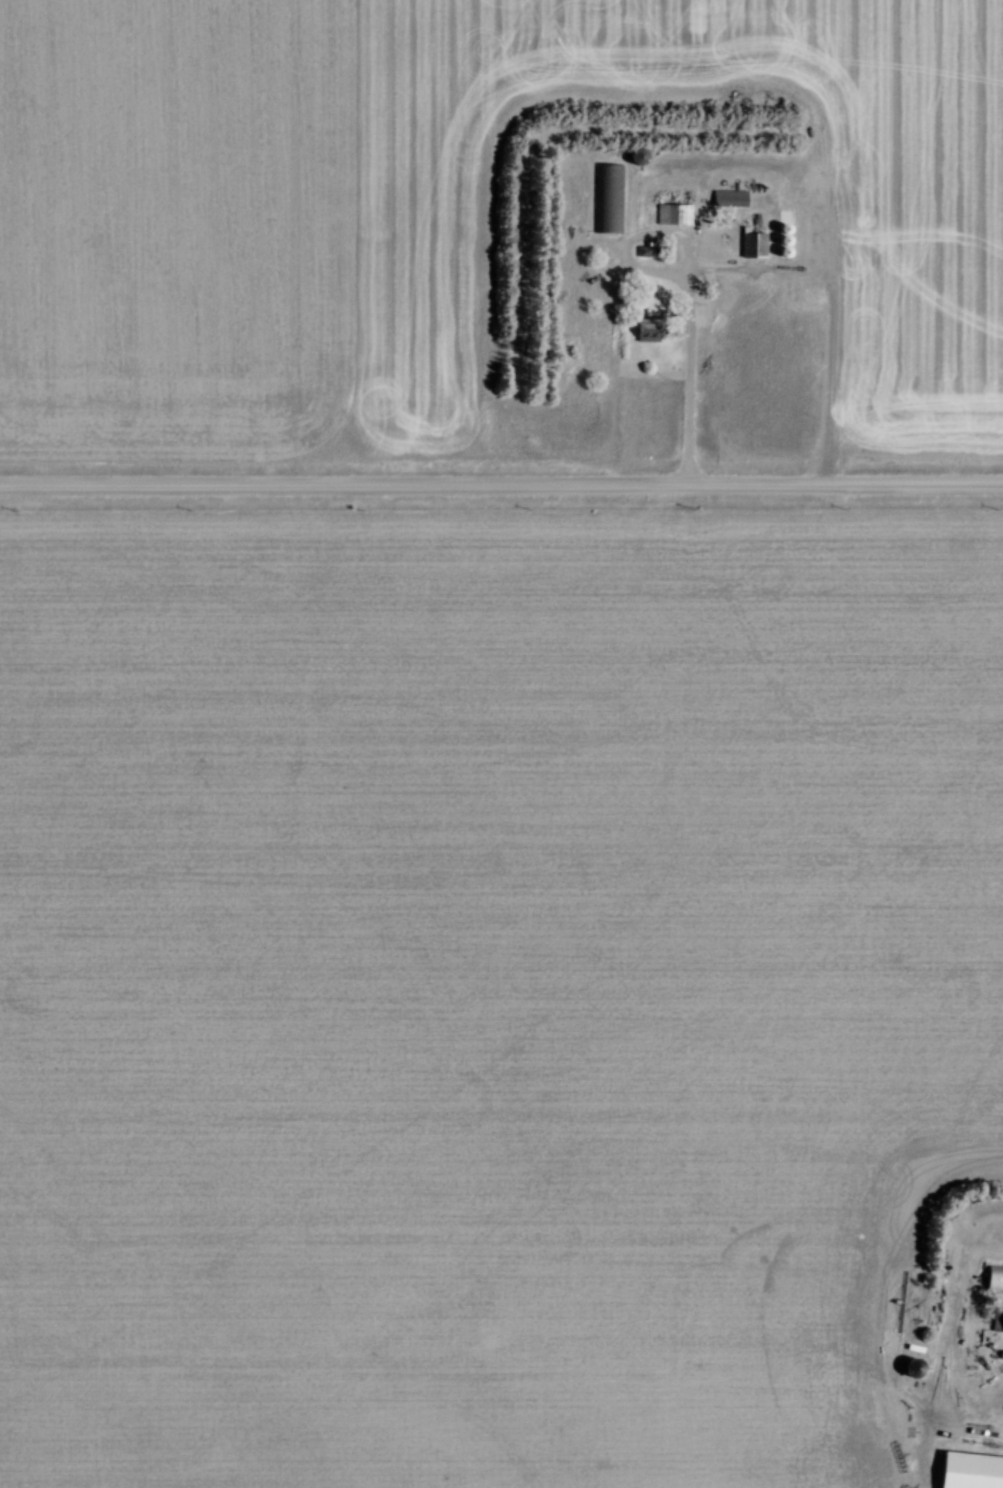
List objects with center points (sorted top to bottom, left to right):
silo: (641, 155)
building: (730, 196)
building: (609, 197)
building: (671, 213)
crop: (457, 219)
road: (658, 231)
building: (754, 243)
road: (689, 374)
road: (501, 482)
crop: (484, 986)
building: (995, 1277)
building: (998, 1318)

